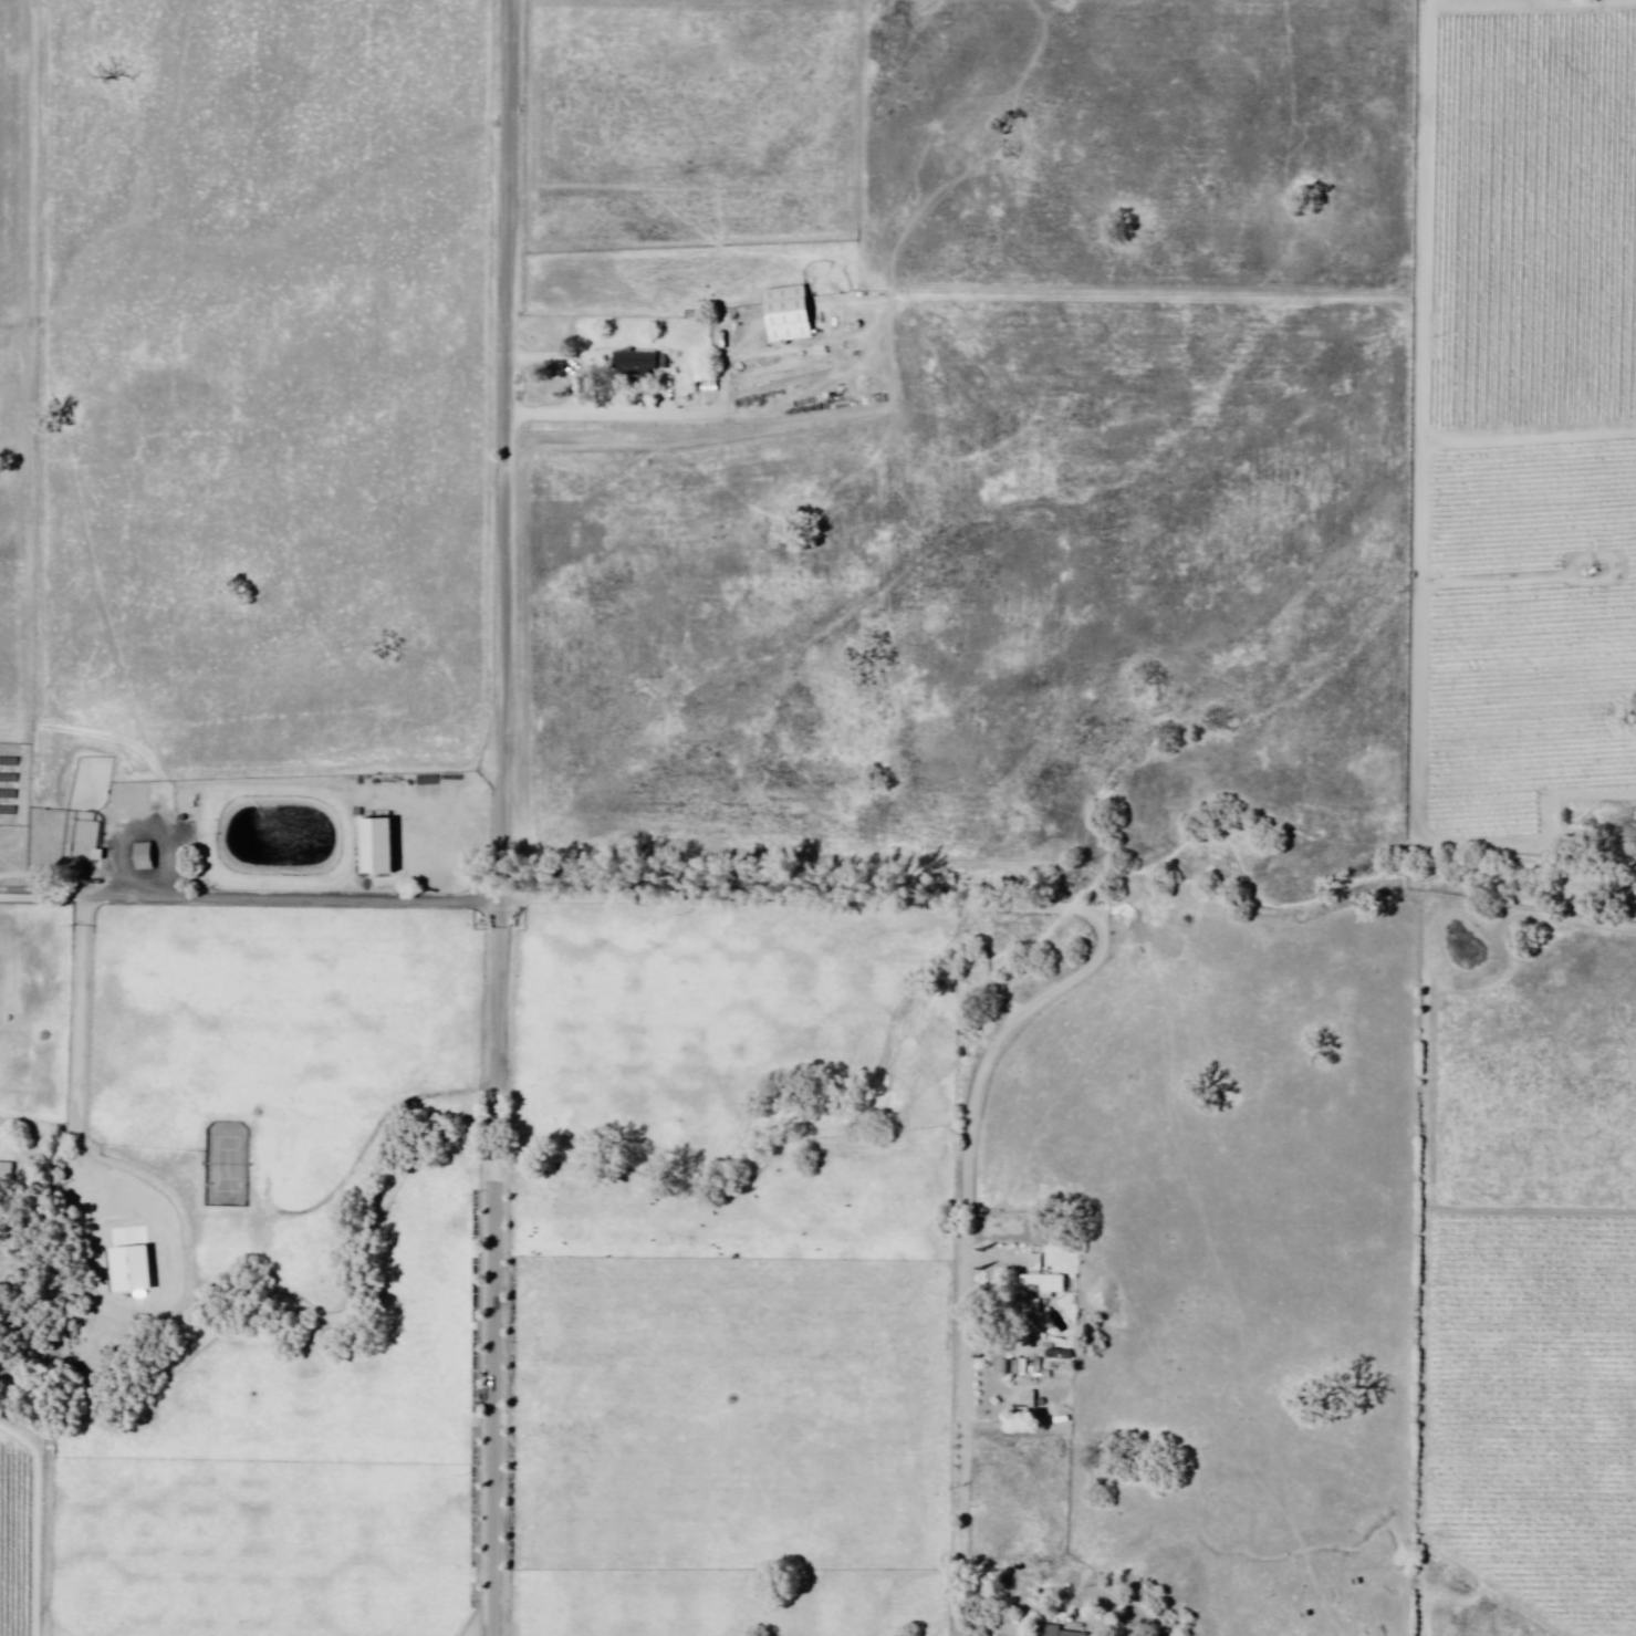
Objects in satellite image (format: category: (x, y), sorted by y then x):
building: (790, 315)
building: (637, 363)
building: (705, 384)
road: (597, 406)
road: (1419, 413)
road: (499, 817)
building: (381, 848)
building: (142, 856)
road: (932, 899)
park: (230, 1166)
building: (7, 1173)
building: (136, 1267)
building: (1042, 1280)
road: (490, 1629)
building: (1056, 1629)

